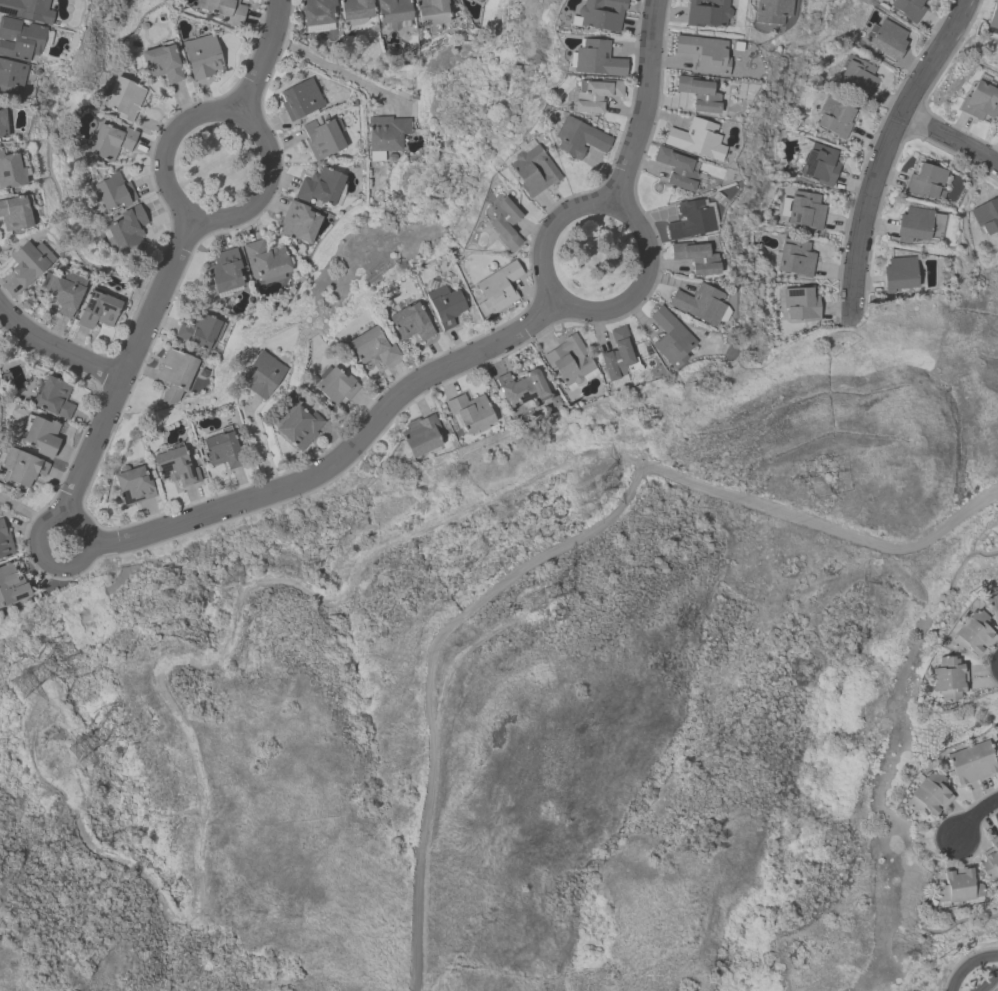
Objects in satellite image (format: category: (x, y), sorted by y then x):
building: (479, 0)
building: (907, 8)
building: (355, 9)
building: (27, 10)
building: (223, 10)
building: (316, 11)
building: (393, 11)
building: (431, 11)
building: (770, 12)
building: (707, 13)
building: (599, 15)
building: (993, 15)
building: (19, 40)
building: (887, 40)
building: (704, 54)
building: (201, 57)
road: (262, 58)
building: (596, 60)
building: (161, 63)
road: (336, 71)
building: (856, 78)
building: (11, 79)
building: (698, 95)
building: (594, 97)
building: (124, 98)
building: (300, 100)
building: (979, 102)
road: (647, 106)
building: (834, 117)
building: (2, 125)
building: (385, 135)
building: (322, 138)
building: (579, 138)
road: (950, 139)
building: (696, 140)
building: (110, 141)
road: (882, 153)
building: (819, 164)
building: (676, 169)
building: (533, 172)
building: (11, 173)
building: (926, 183)
building: (319, 186)
building: (114, 191)
building: (805, 210)
building: (15, 214)
road: (198, 214)
building: (986, 217)
building: (299, 221)
building: (690, 221)
building: (504, 225)
building: (918, 226)
building: (127, 230)
building: (795, 258)
building: (695, 259)
building: (265, 261)
building: (29, 264)
building: (225, 270)
building: (898, 274)
building: (497, 287)
building: (63, 292)
building: (800, 303)
building: (445, 304)
road: (576, 305)
building: (700, 305)
building: (97, 310)
building: (410, 320)
building: (200, 330)
building: (670, 337)
building: (372, 346)
road: (60, 351)
building: (619, 355)
building: (569, 359)
road: (135, 367)
building: (174, 374)
building: (262, 374)
building: (336, 385)
building: (521, 387)
building: (53, 396)
building: (470, 412)
building: (299, 426)
building: (40, 433)
building: (420, 435)
road: (255, 443)
building: (222, 448)
road: (343, 455)
building: (174, 465)
building: (21, 467)
building: (132, 484)
power tower: (581, 494)
road: (22, 511)
building: (5, 542)
road: (56, 569)
building: (11, 584)
power tower: (529, 600)
building: (992, 605)
building: (972, 632)
power tower: (20, 677)
building: (948, 677)
building: (996, 738)
power tower: (78, 749)
building: (971, 761)
building: (928, 793)
road: (976, 814)
building: (990, 859)
building: (958, 885)
road: (980, 976)

